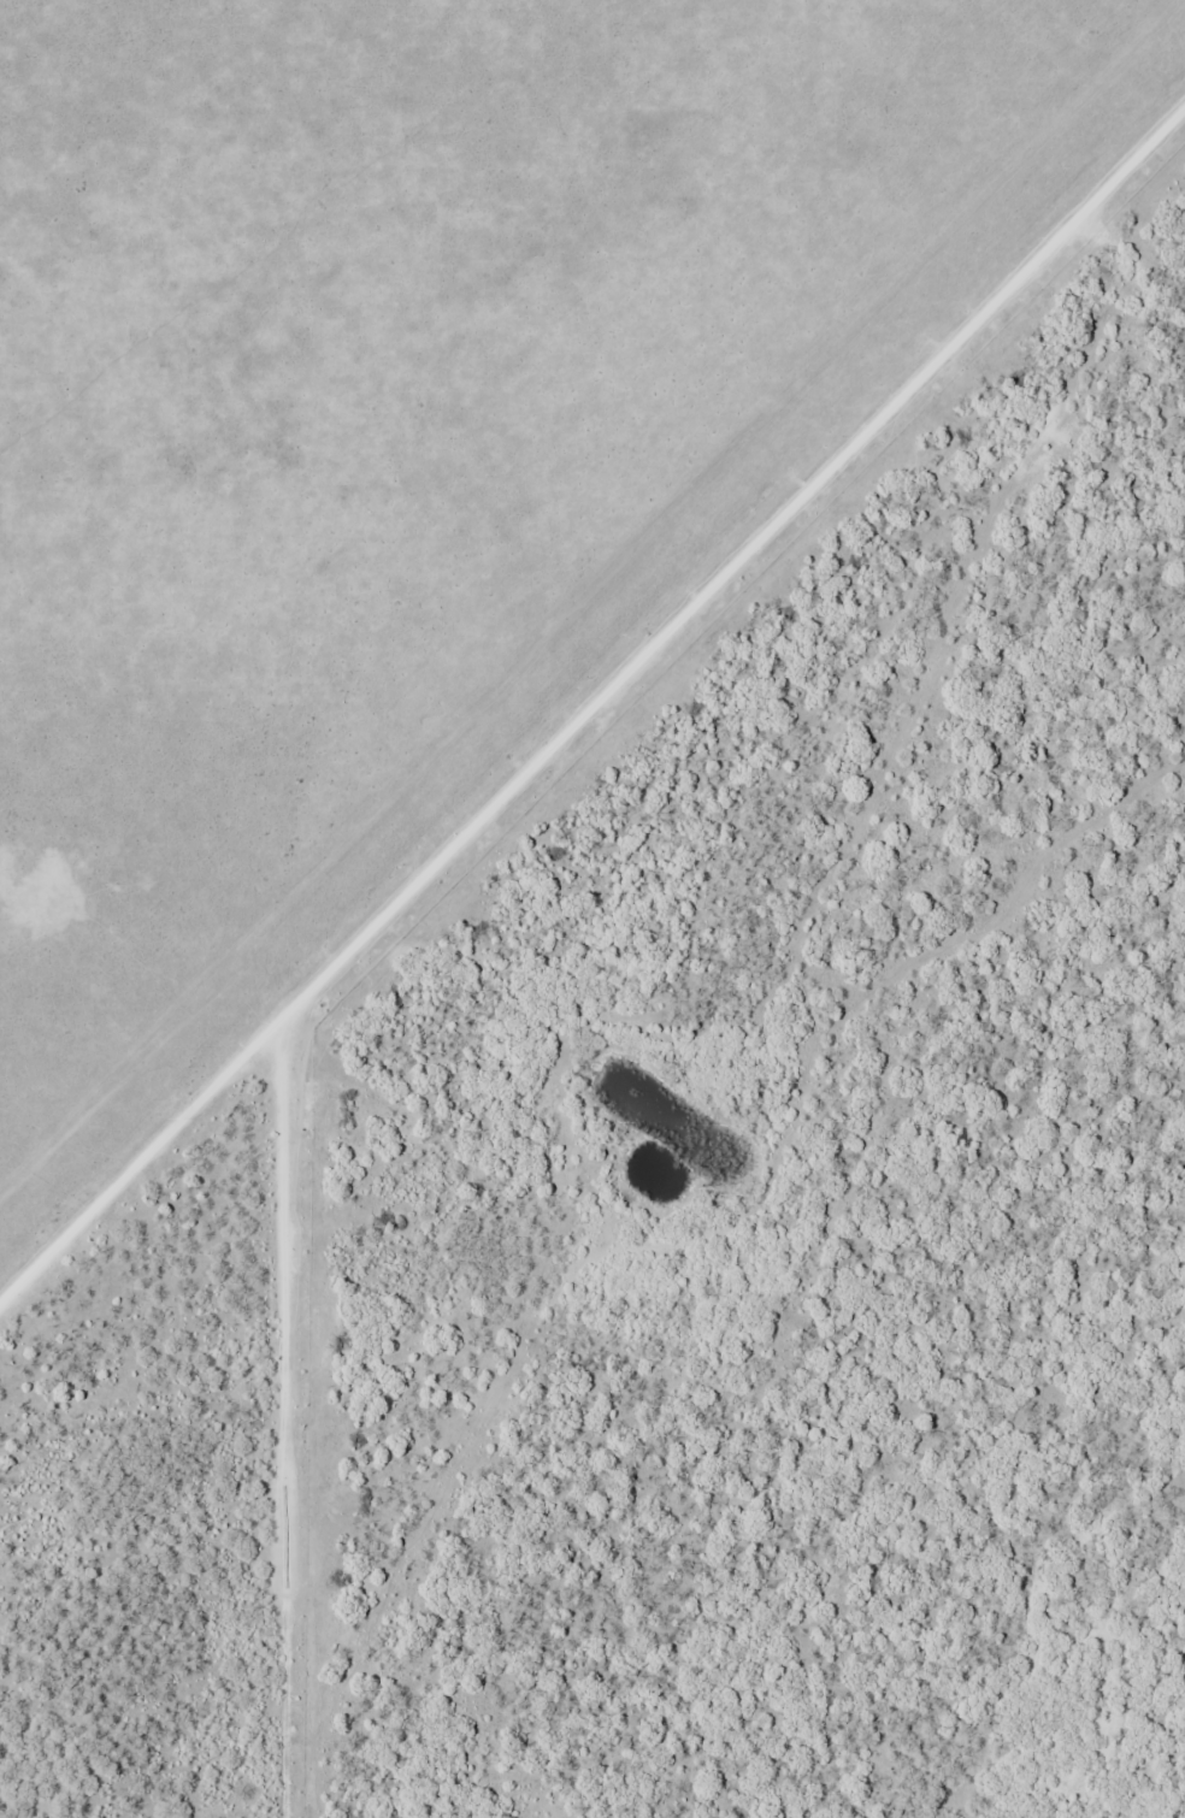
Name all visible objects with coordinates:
road: (739, 574)
road: (140, 1149)
road: (283, 1411)

